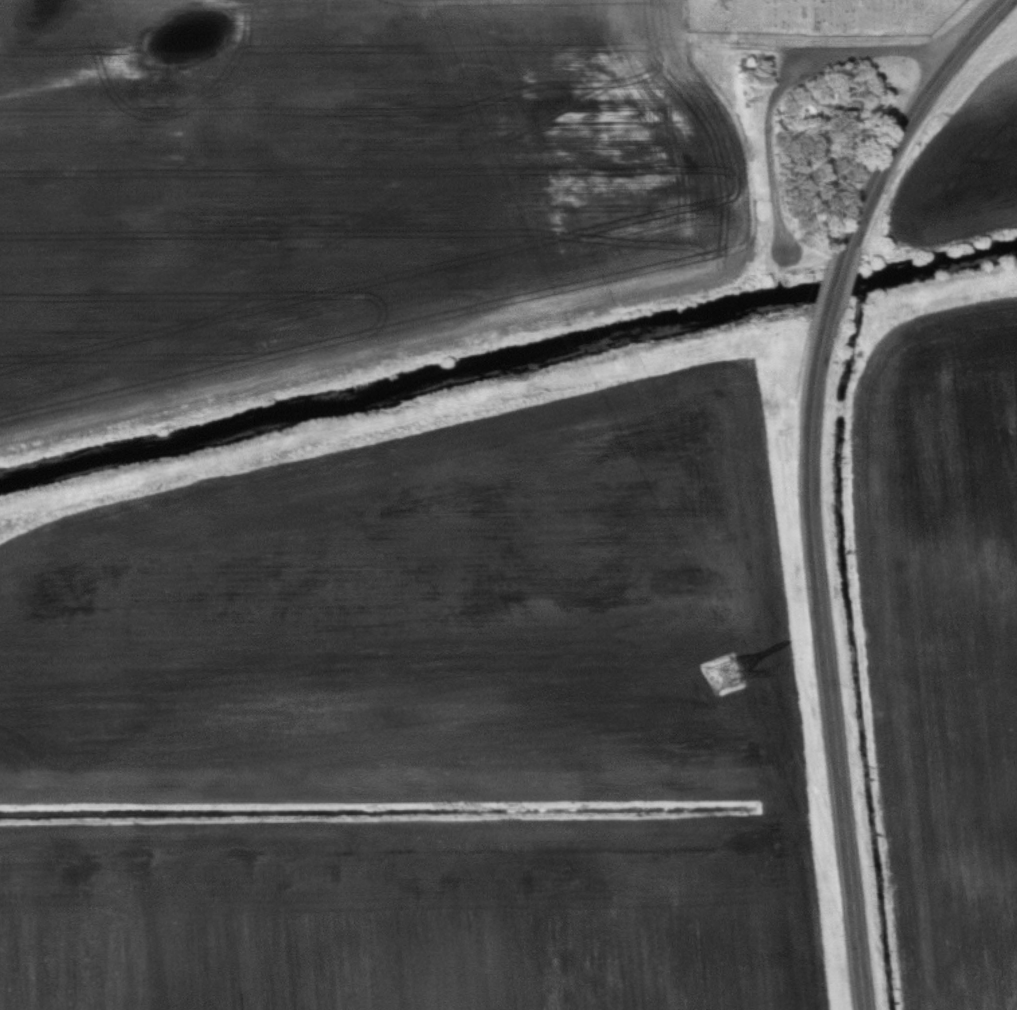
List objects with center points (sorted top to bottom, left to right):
road: (789, 77)
road: (923, 95)
road: (833, 290)
power tower: (727, 675)
road: (828, 694)

